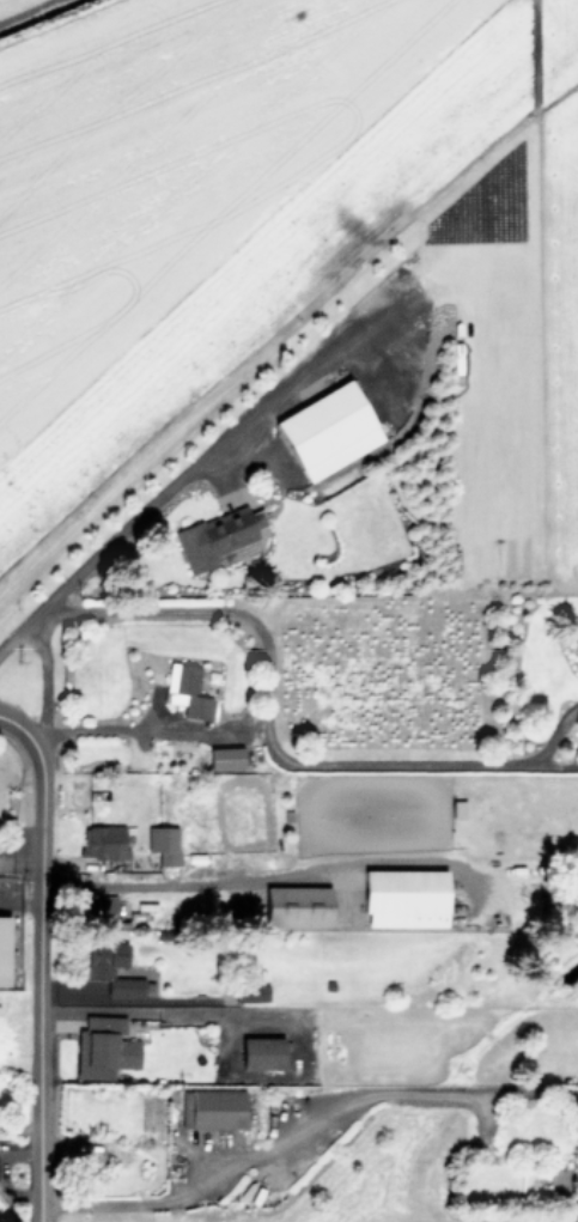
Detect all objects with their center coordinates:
crop: (291, 253)
building: (328, 430)
road: (183, 476)
building: (215, 536)
building: (576, 638)
road: (42, 683)
building: (187, 691)
road: (267, 709)
road: (104, 729)
road: (554, 735)
building: (225, 758)
road: (554, 765)
building: (103, 841)
building: (163, 844)
road: (193, 882)
building: (404, 896)
building: (296, 905)
building: (103, 907)
building: (4, 949)
road: (37, 960)
building: (110, 968)
building: (250, 992)
road: (145, 1010)
building: (104, 1047)
building: (261, 1053)
building: (212, 1108)
road: (298, 1129)

